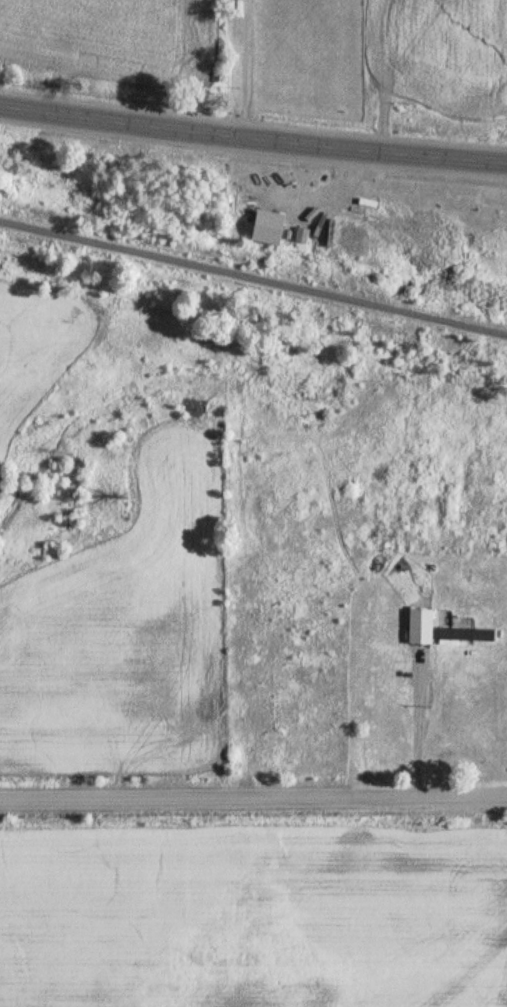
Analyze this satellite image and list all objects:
road: (252, 140)
building: (260, 227)
building: (299, 235)
road: (253, 278)
building: (417, 627)
building: (465, 634)
road: (253, 806)

